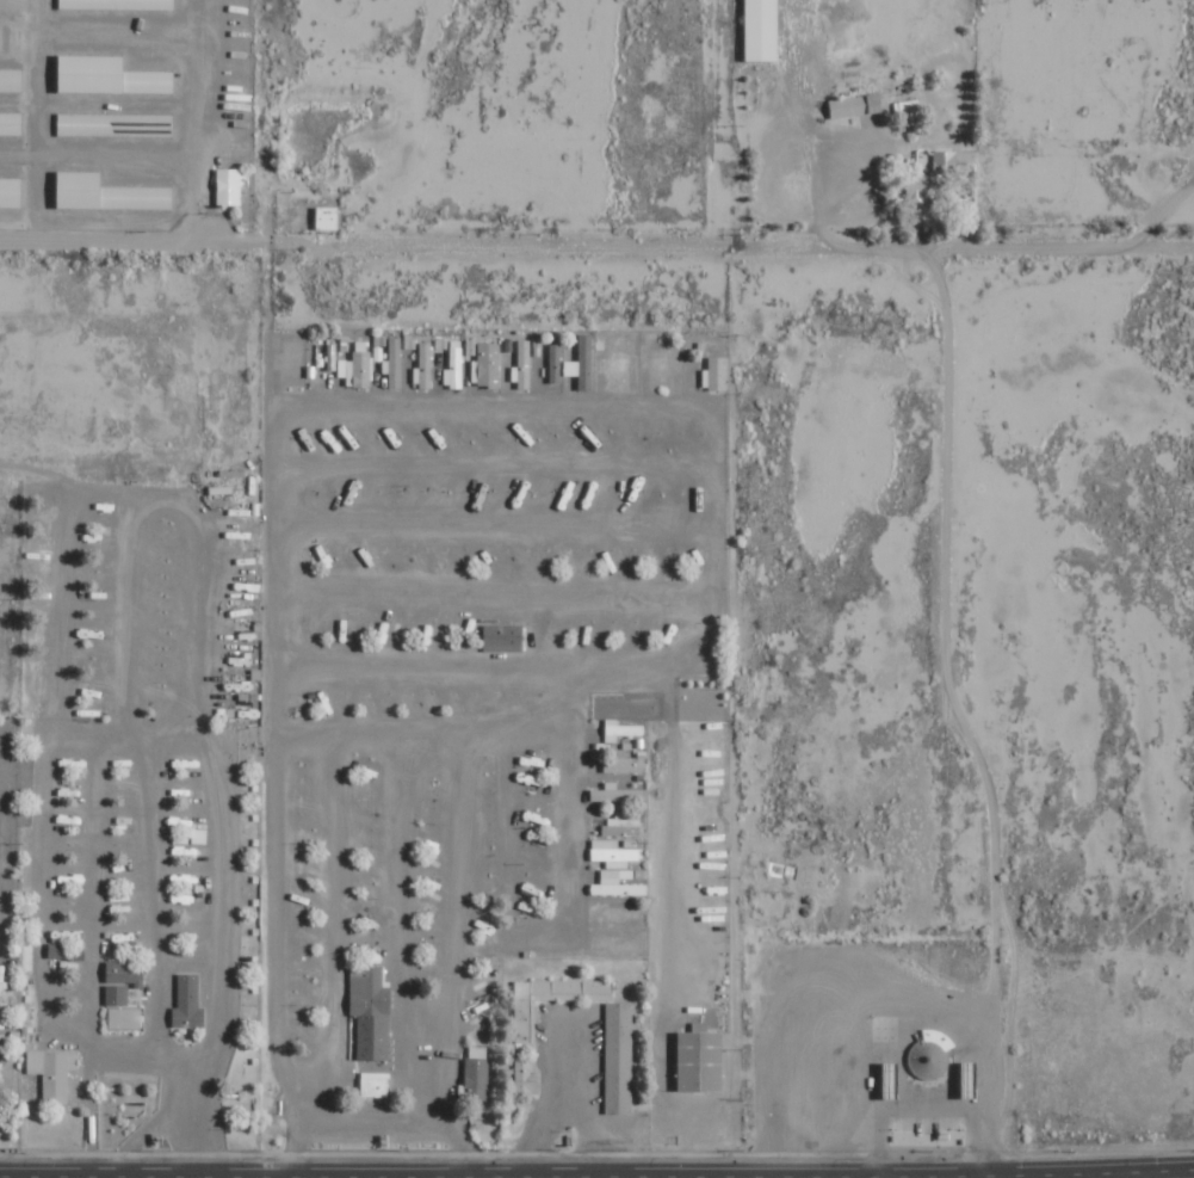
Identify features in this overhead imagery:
building: (117, 5)
building: (762, 30)
building: (0, 38)
building: (111, 76)
building: (12, 80)
building: (859, 106)
building: (11, 124)
building: (100, 125)
building: (938, 177)
building: (229, 187)
building: (12, 192)
building: (110, 193)
building: (328, 218)
road: (596, 242)
building: (409, 341)
building: (441, 344)
building: (471, 346)
building: (377, 354)
building: (553, 359)
building: (583, 363)
building: (395, 364)
building: (489, 365)
building: (522, 365)
building: (359, 366)
building: (423, 366)
building: (454, 366)
building: (716, 375)
road: (124, 489)
road: (128, 615)
building: (503, 639)
building: (621, 730)
road: (82, 740)
building: (625, 764)
building: (618, 794)
building: (621, 826)
building: (612, 853)
building: (618, 884)
road: (92, 893)
road: (154, 901)
building: (125, 973)
building: (188, 1003)
building: (123, 1010)
building: (370, 1012)
road: (905, 1014)
building: (524, 1022)
building: (930, 1055)
building: (618, 1057)
building: (701, 1061)
building: (51, 1074)
building: (477, 1074)
building: (526, 1077)
building: (376, 1084)
road: (192, 1122)

